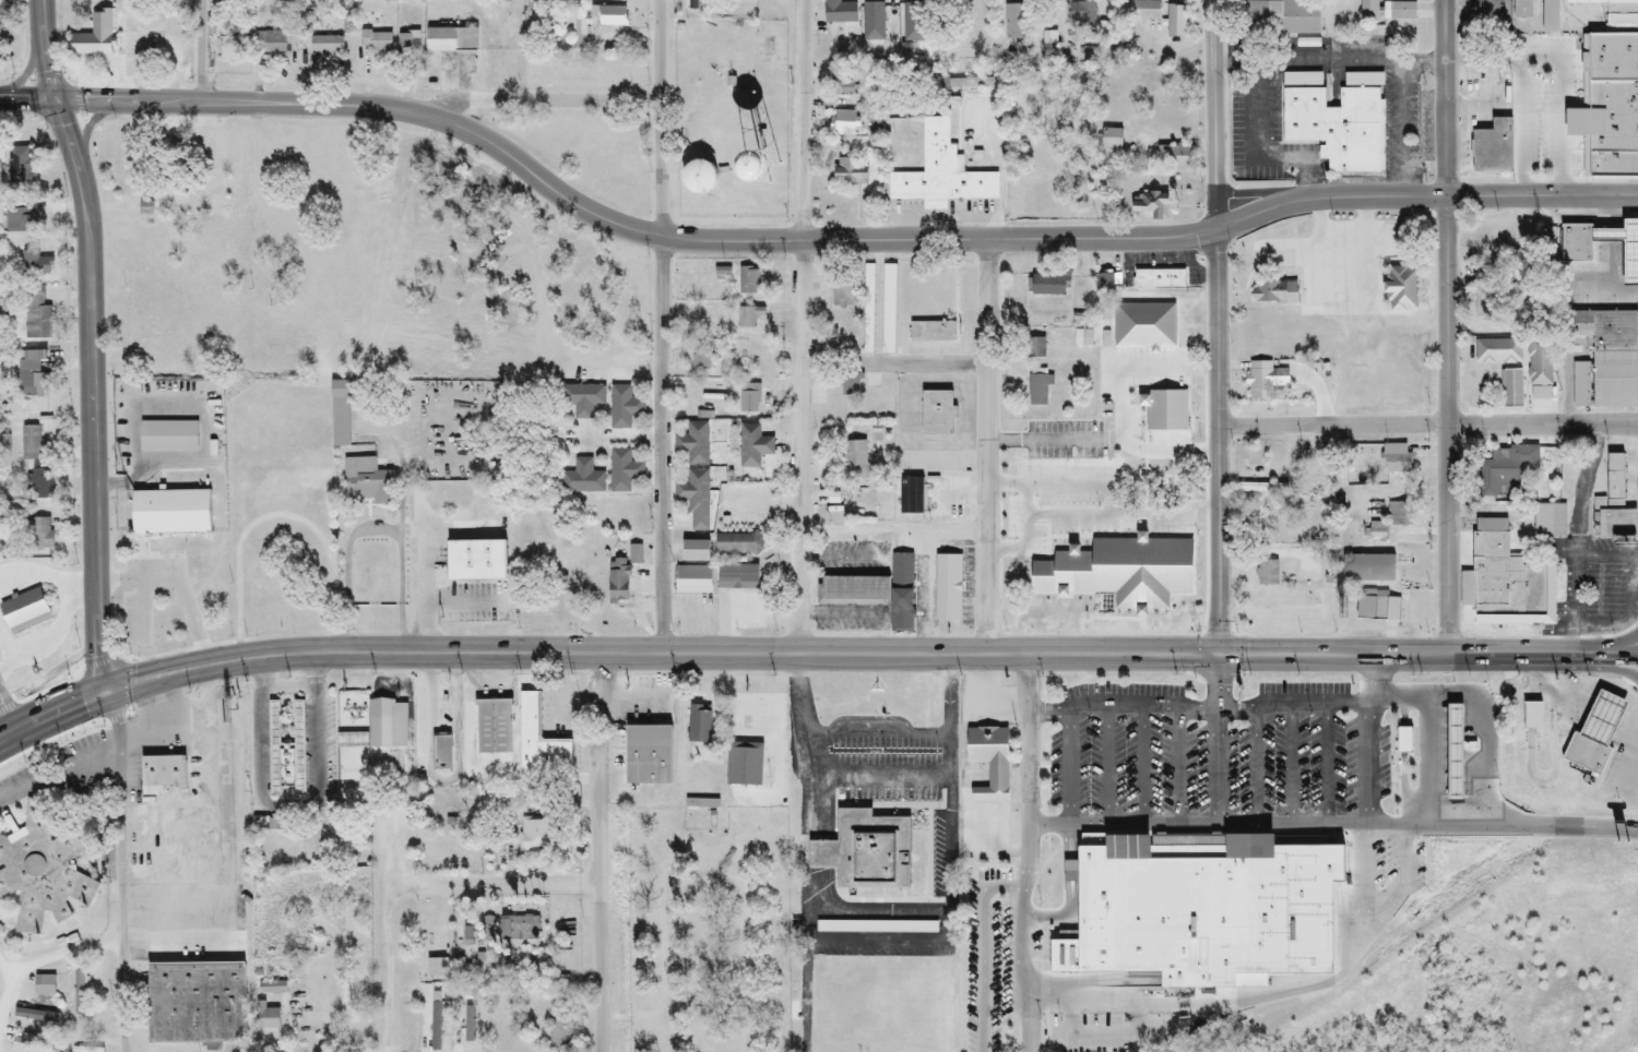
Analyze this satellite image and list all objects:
building: (1521, 9)
building: (839, 11)
building: (1146, 11)
building: (1487, 11)
building: (1398, 12)
building: (900, 15)
building: (609, 16)
building: (1087, 17)
building: (1280, 17)
building: (1548, 17)
building: (1175, 22)
building: (1007, 24)
building: (580, 34)
building: (93, 37)
building: (272, 41)
building: (450, 41)
building: (375, 43)
building: (408, 43)
building: (226, 47)
building: (325, 47)
road: (45, 50)
road: (200, 51)
road: (1271, 60)
road: (1239, 61)
road: (1560, 75)
building: (843, 89)
building: (1613, 93)
road: (1446, 98)
road: (27, 99)
road: (531, 100)
road: (1212, 116)
road: (661, 119)
road: (806, 121)
building: (842, 123)
building: (1337, 128)
road: (1520, 129)
road: (1404, 131)
building: (1112, 140)
building: (1492, 148)
building: (1174, 157)
building: (19, 167)
building: (941, 174)
building: (696, 178)
building: (1149, 206)
building: (145, 208)
building: (19, 222)
road: (1343, 234)
road: (832, 241)
building: (1575, 253)
road: (1610, 255)
building: (35, 265)
building: (1159, 279)
building: (748, 282)
building: (1107, 282)
building: (1049, 284)
building: (1399, 289)
building: (842, 291)
building: (1272, 292)
building: (868, 310)
building: (889, 310)
building: (36, 314)
building: (747, 319)
building: (1143, 326)
building: (943, 333)
building: (828, 339)
building: (1034, 348)
building: (1497, 351)
building: (755, 357)
building: (701, 359)
building: (1603, 360)
building: (1539, 362)
road: (1136, 371)
building: (32, 374)
building: (1263, 381)
road: (1470, 384)
building: (850, 388)
road: (1460, 388)
building: (1509, 390)
building: (1038, 391)
road: (92, 395)
building: (748, 398)
building: (583, 399)
building: (624, 407)
road: (904, 411)
building: (936, 414)
building: (340, 415)
road: (205, 427)
road: (1426, 427)
road: (1451, 427)
road: (618, 440)
road: (1104, 441)
road: (1216, 443)
building: (31, 444)
building: (693, 444)
road: (663, 445)
building: (752, 446)
road: (802, 447)
road: (989, 447)
building: (1396, 459)
building: (855, 462)
building: (1162, 464)
building: (1506, 470)
building: (624, 471)
building: (582, 479)
building: (1614, 481)
building: (40, 482)
building: (367, 482)
building: (882, 489)
building: (1260, 492)
road: (1586, 492)
building: (275, 497)
building: (695, 499)
road: (1187, 506)
building: (167, 513)
road: (277, 515)
road: (1032, 517)
road: (333, 519)
building: (1550, 521)
building: (1622, 524)
building: (1374, 528)
road: (894, 531)
road: (376, 534)
building: (39, 535)
building: (738, 545)
building: (693, 551)
road: (1616, 555)
road: (428, 561)
building: (473, 562)
building: (1088, 566)
building: (1366, 570)
building: (1266, 574)
building: (621, 575)
building: (736, 578)
building: (692, 581)
road: (180, 582)
building: (1508, 582)
building: (947, 588)
road: (1579, 588)
building: (852, 591)
road: (83, 593)
building: (901, 594)
building: (1375, 607)
road: (1637, 608)
road: (68, 611)
building: (23, 612)
road: (1602, 630)
road: (810, 654)
road: (289, 685)
road: (1166, 702)
road: (1493, 712)
road: (1054, 715)
building: (1331, 716)
building: (1531, 717)
road: (5, 720)
building: (385, 725)
road: (168, 726)
building: (698, 726)
building: (492, 728)
building: (1594, 733)
road: (1378, 741)
building: (1410, 741)
road: (1219, 742)
building: (539, 743)
building: (1470, 748)
building: (286, 753)
building: (1461, 753)
gas station: (1461, 753)
building: (441, 754)
building: (646, 756)
building: (988, 762)
building: (744, 765)
road: (1257, 765)
road: (1295, 765)
road: (1334, 765)
road: (1433, 765)
road: (1116, 766)
road: (1150, 766)
road: (1188, 766)
road: (57, 772)
building: (352, 772)
building: (159, 775)
road: (805, 798)
road: (292, 810)
road: (1333, 827)
building: (533, 836)
road: (228, 849)
building: (453, 849)
building: (886, 850)
road: (598, 853)
road: (1030, 853)
building: (40, 870)
road: (120, 870)
building: (1077, 871)
road: (511, 886)
road: (1071, 895)
road: (879, 911)
building: (1209, 911)
road: (1365, 923)
road: (951, 925)
building: (485, 930)
building: (525, 930)
building: (465, 932)
road: (67, 955)
road: (390, 961)
building: (436, 968)
road: (11, 987)
building: (43, 987)
building: (79, 991)
building: (194, 1004)
road: (1170, 1008)
building: (265, 1017)
building: (90, 1033)
building: (561, 1033)
building: (47, 1048)

